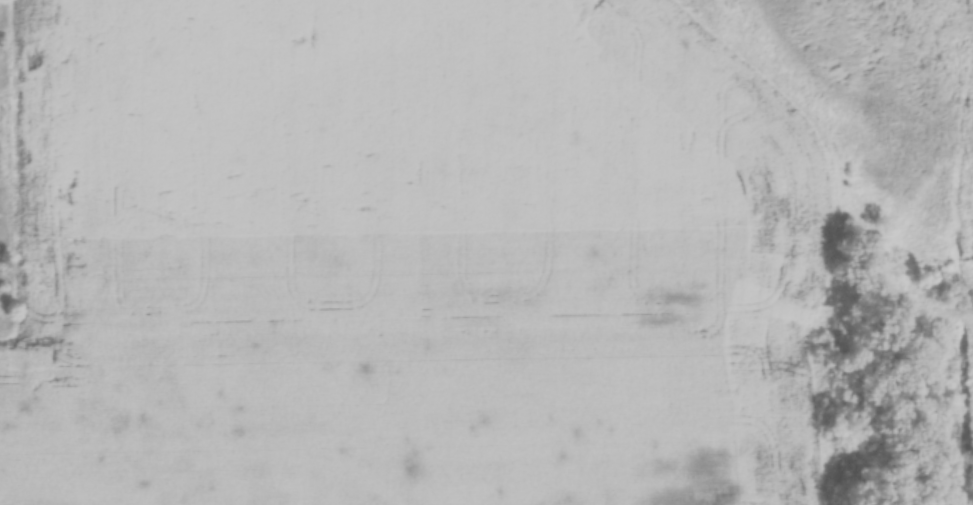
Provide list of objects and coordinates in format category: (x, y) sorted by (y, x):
crop: (411, 421)

